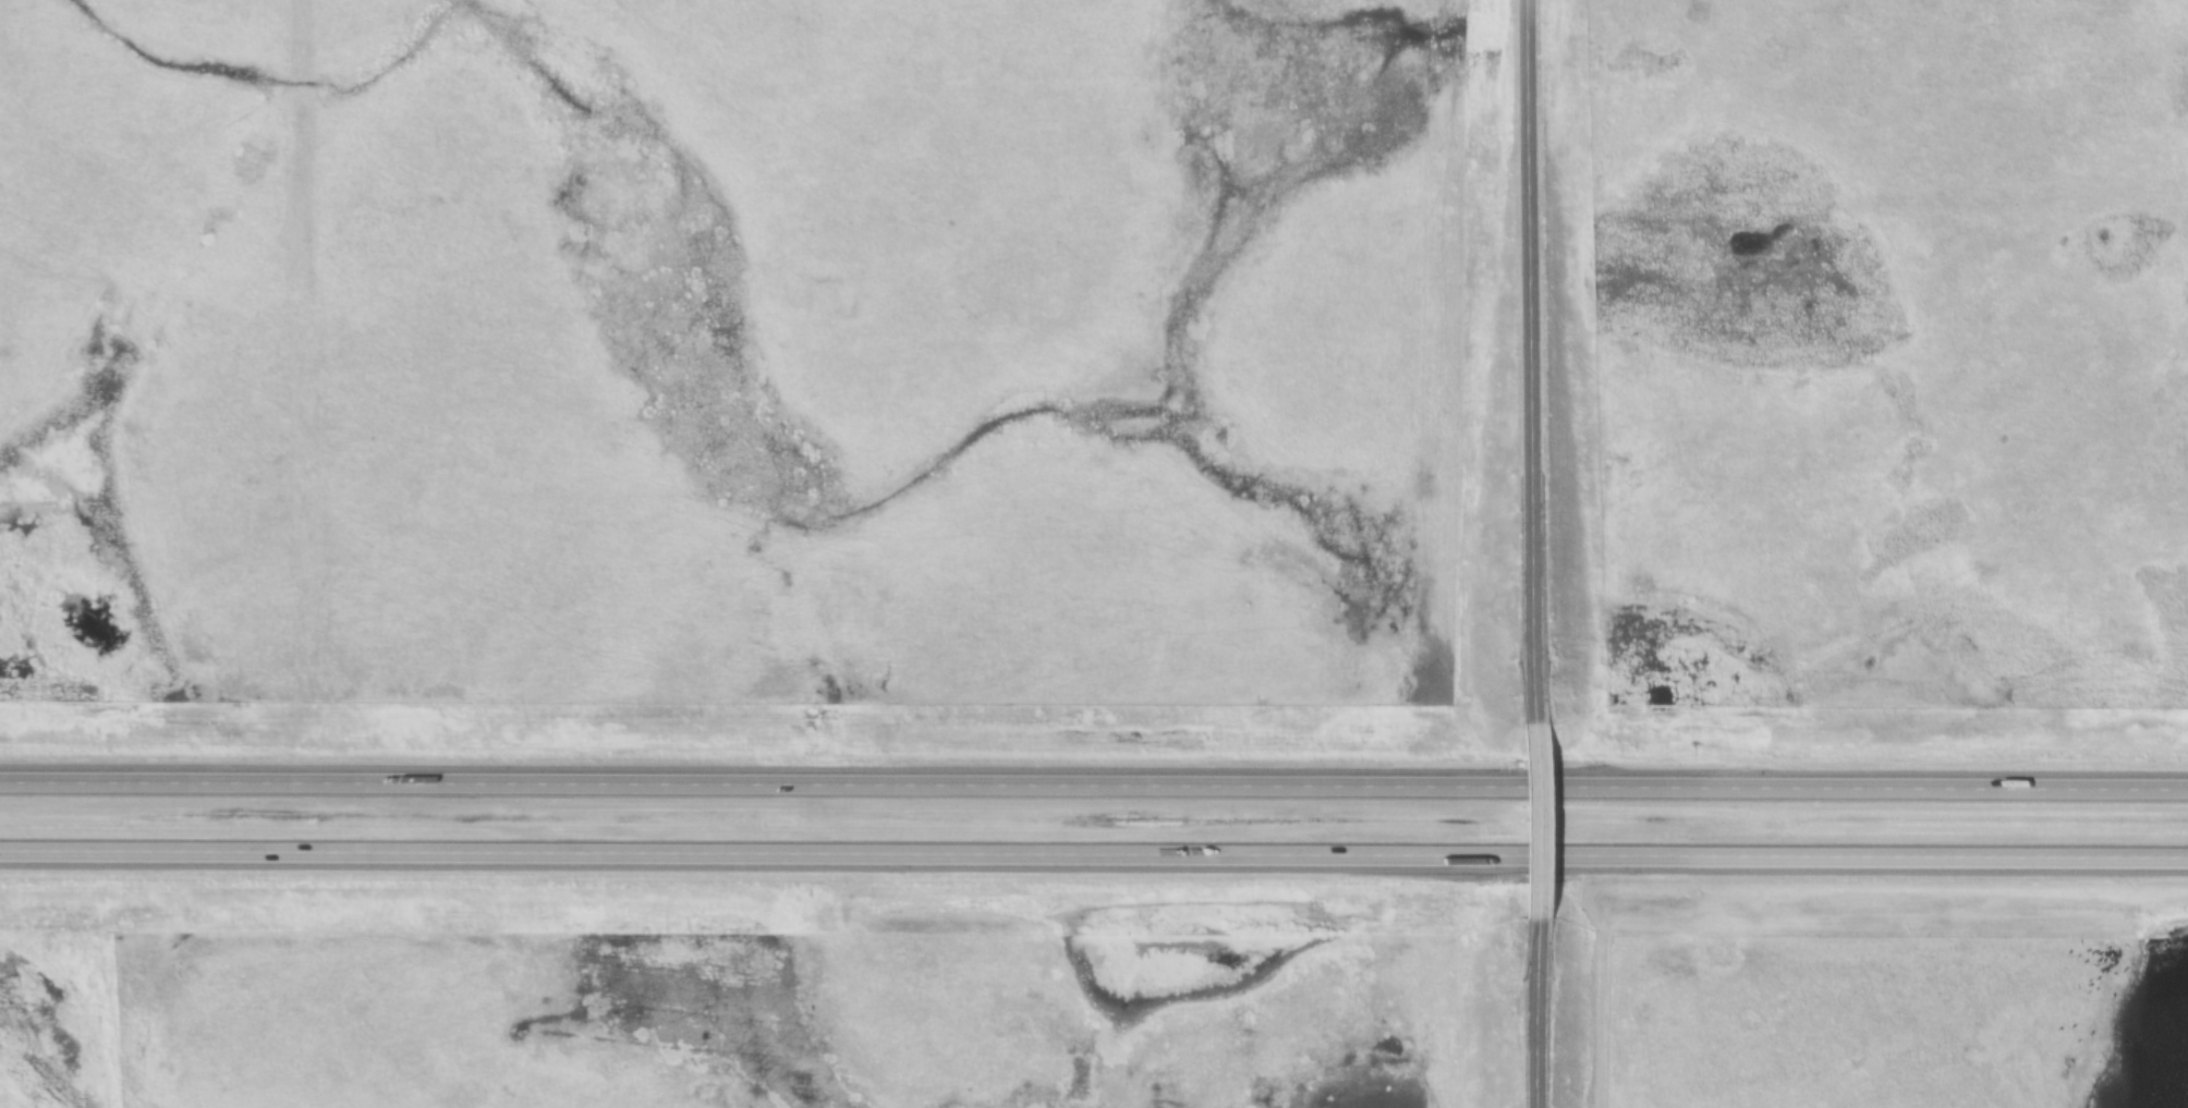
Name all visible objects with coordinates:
road: (1529, 7)
road: (1525, 365)
road: (1094, 789)
road: (1521, 815)
road: (1094, 860)
road: (1524, 1011)

